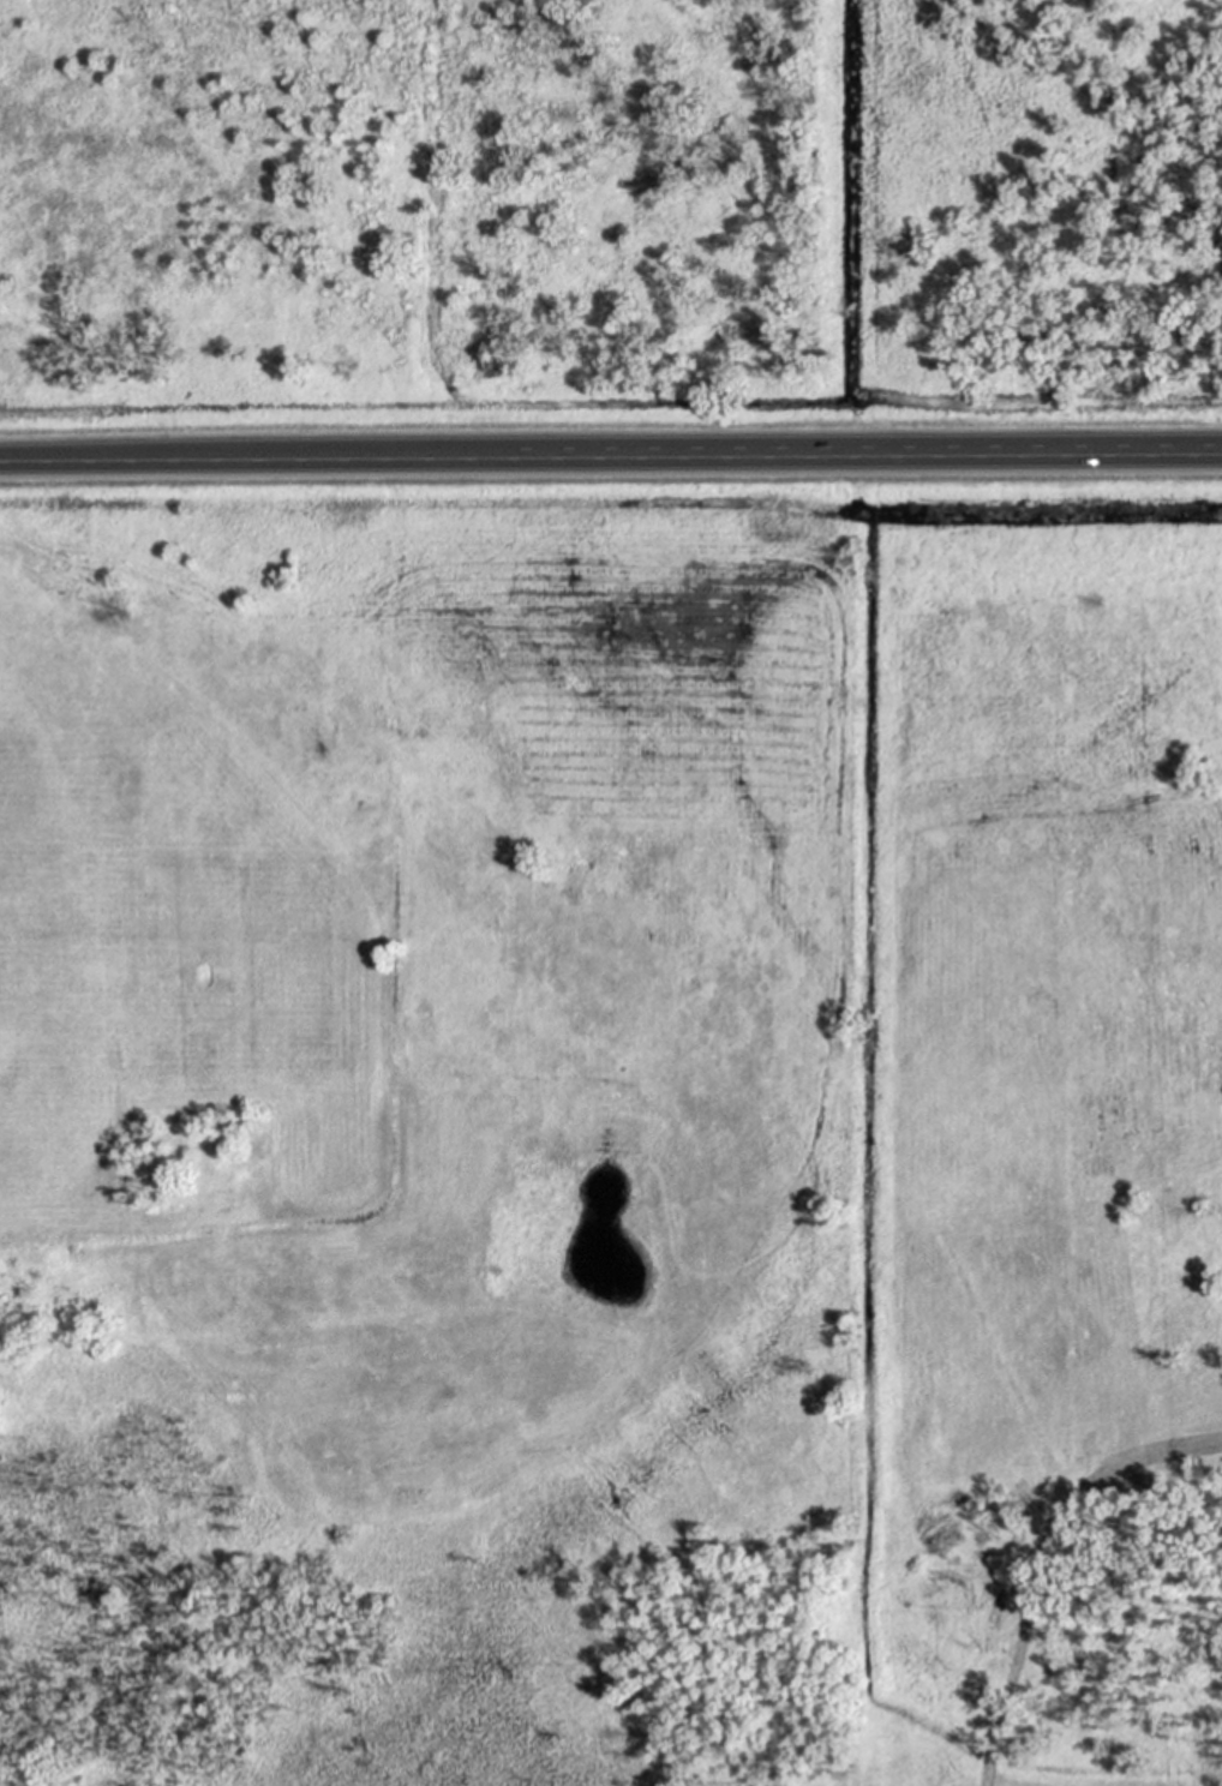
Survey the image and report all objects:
road: (611, 460)
building: (988, 1760)

